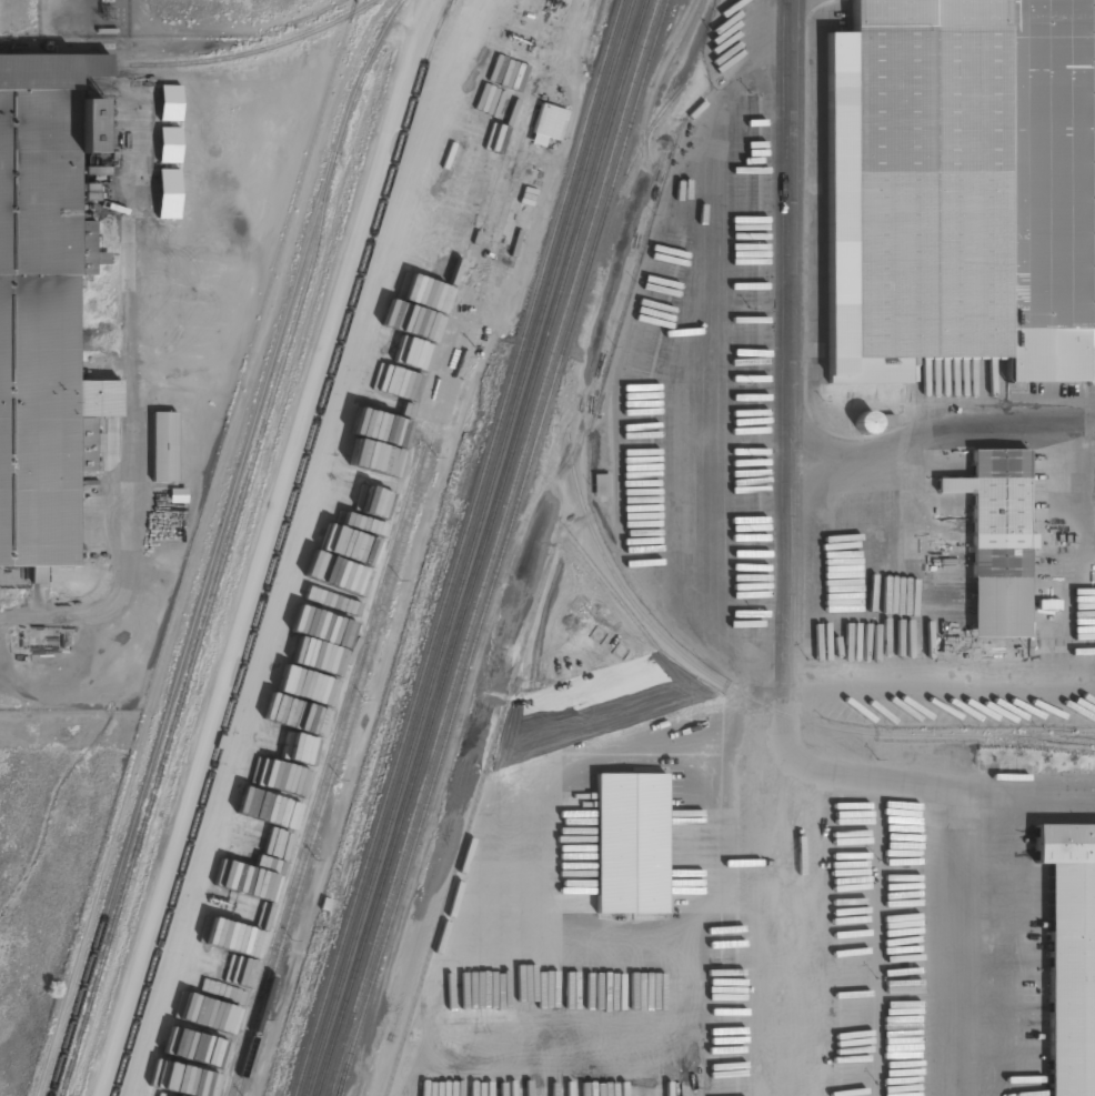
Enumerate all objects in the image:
power substation: (84, 18)
railway: (253, 52)
building: (94, 66)
building: (169, 102)
building: (547, 124)
building: (84, 125)
building: (169, 144)
railway: (630, 164)
building: (1, 169)
building: (168, 193)
building: (9, 261)
building: (2, 295)
building: (163, 450)
building: (52, 485)
building: (601, 485)
road: (128, 486)
road: (786, 533)
building: (997, 541)
railway: (218, 543)
railway: (279, 546)
railway: (460, 547)
railway: (470, 547)
railway: (481, 547)
railway: (492, 547)
railway: (502, 547)
building: (38, 575)
railway: (200, 639)
railway: (697, 670)
railway: (1044, 734)
railway: (324, 767)
railway: (334, 771)
building: (282, 811)
building: (631, 843)
road: (960, 939)
building: (1069, 955)
building: (555, 1089)
railway: (339, 1090)

